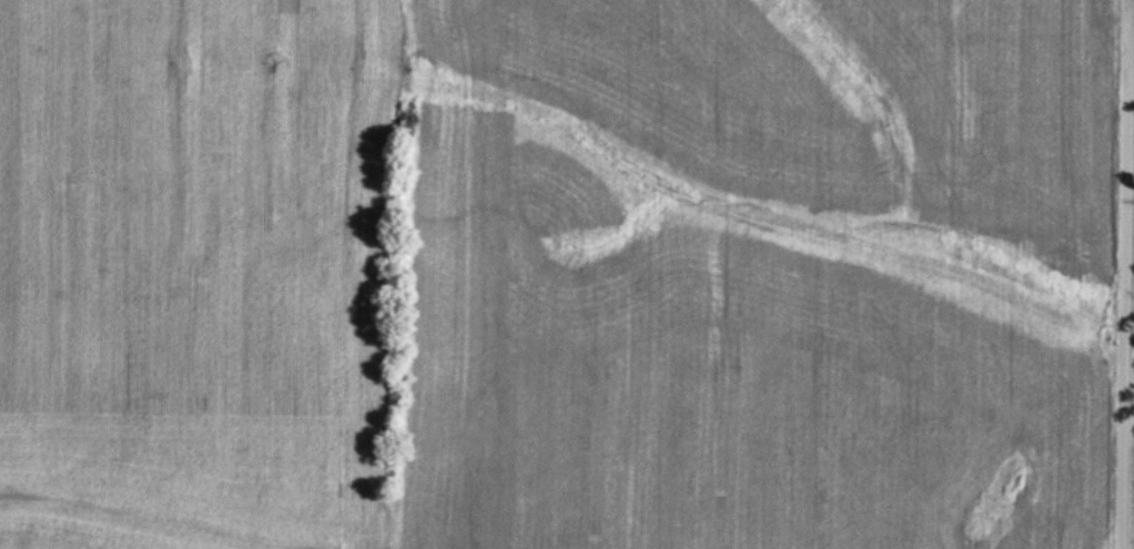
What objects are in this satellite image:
road: (1126, 274)

